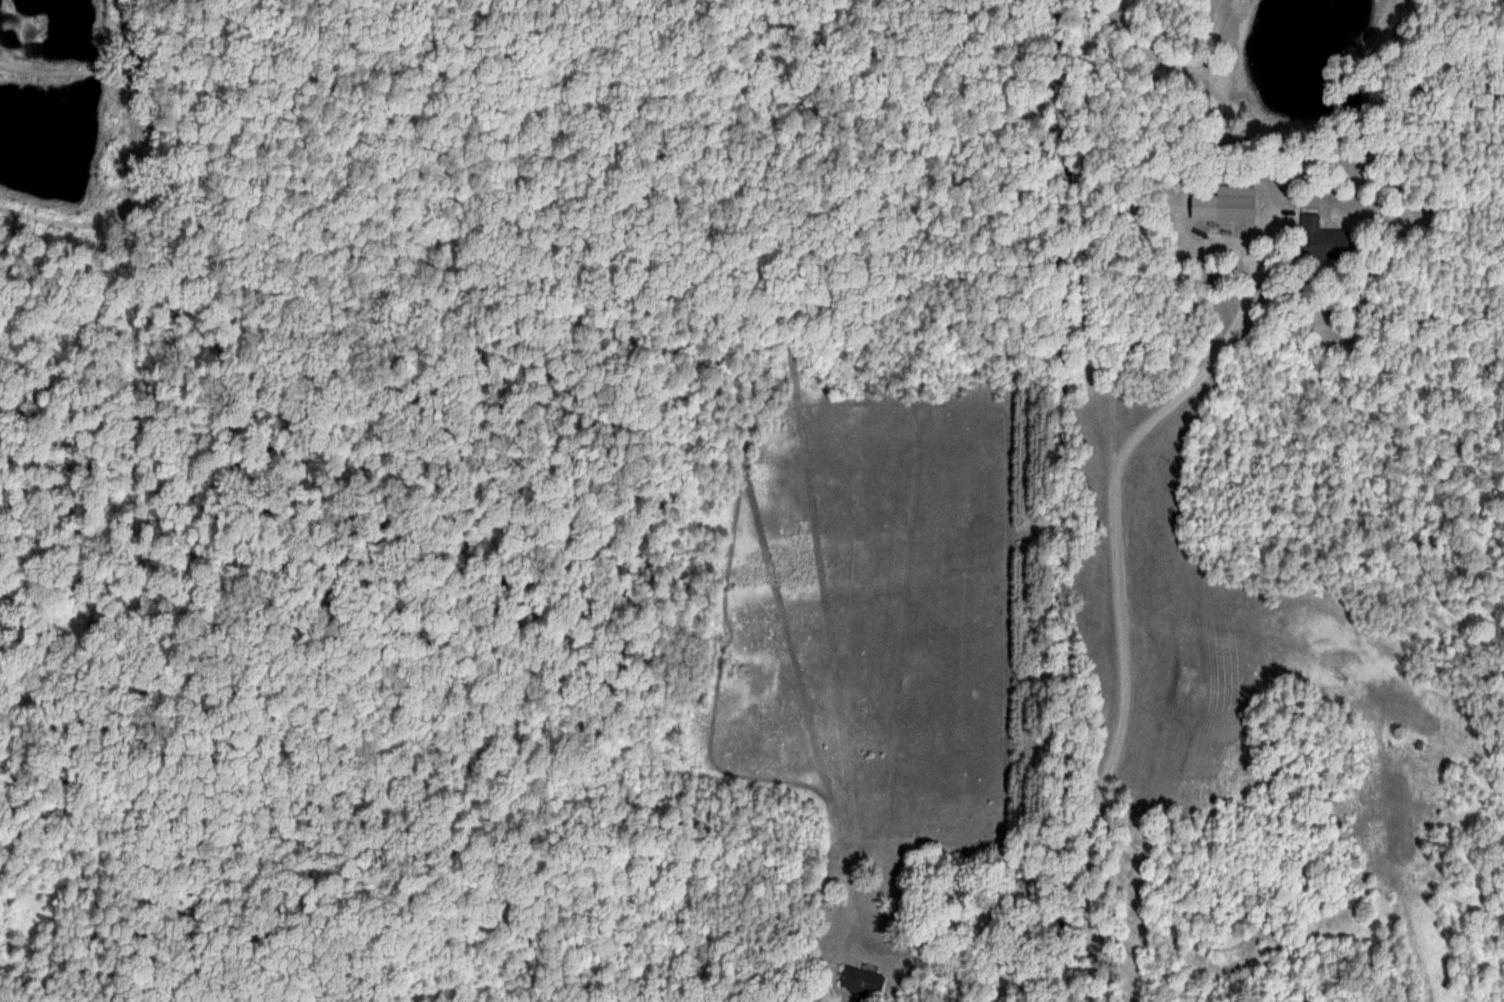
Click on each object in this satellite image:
building: (1234, 202)
building: (1320, 239)
road: (1237, 241)
road: (1064, 501)
road: (1120, 734)
building: (860, 982)
building: (691, 1000)

